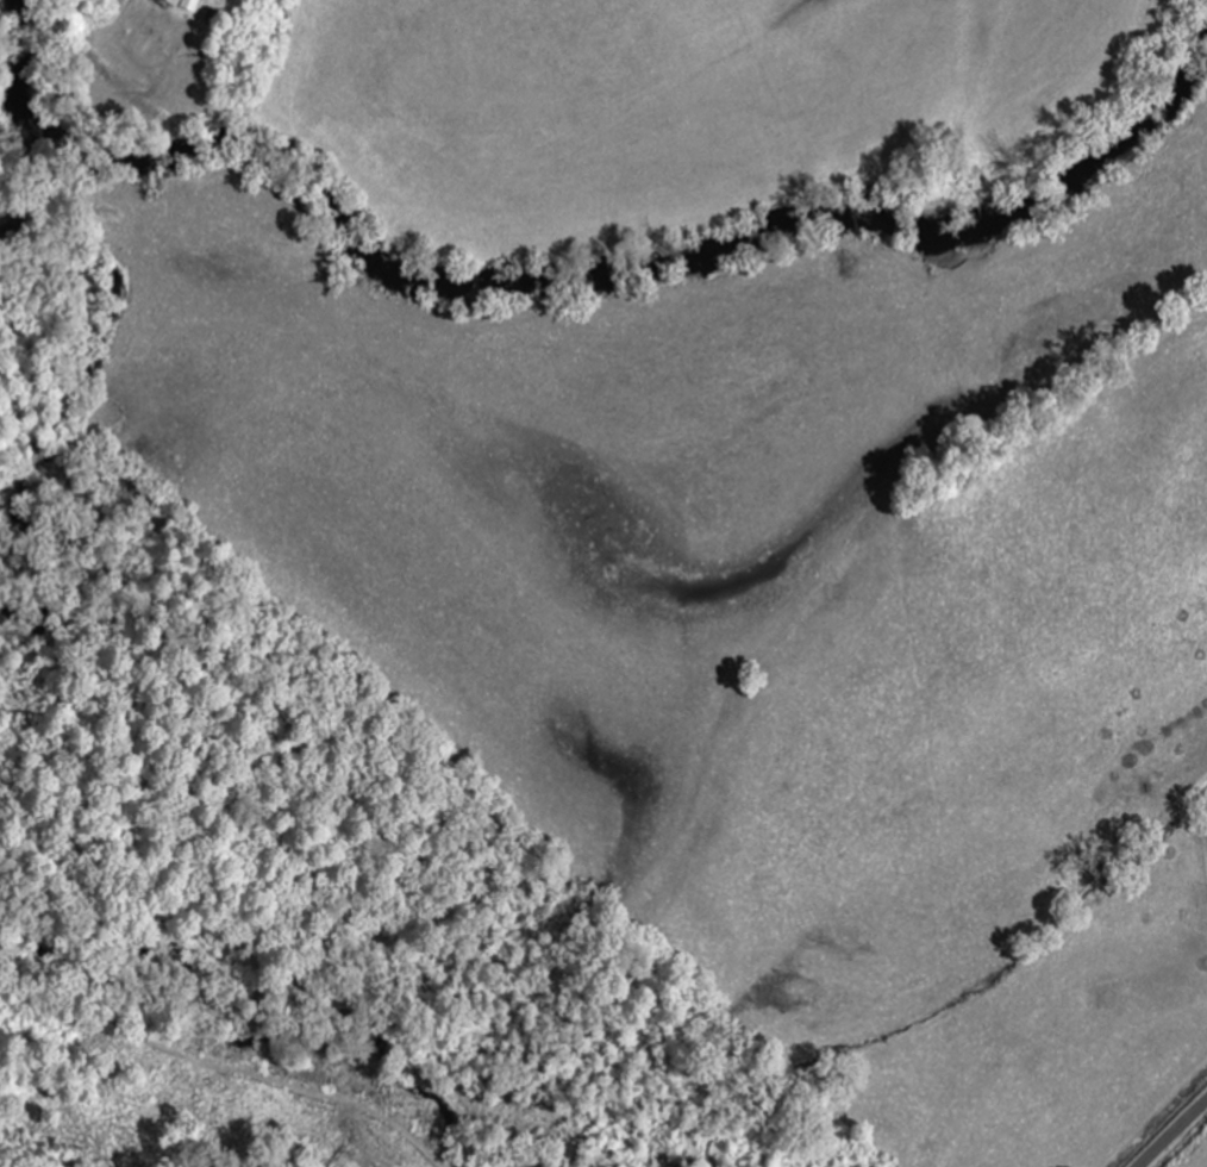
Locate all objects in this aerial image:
building: (185, 5)
road: (1174, 1134)

